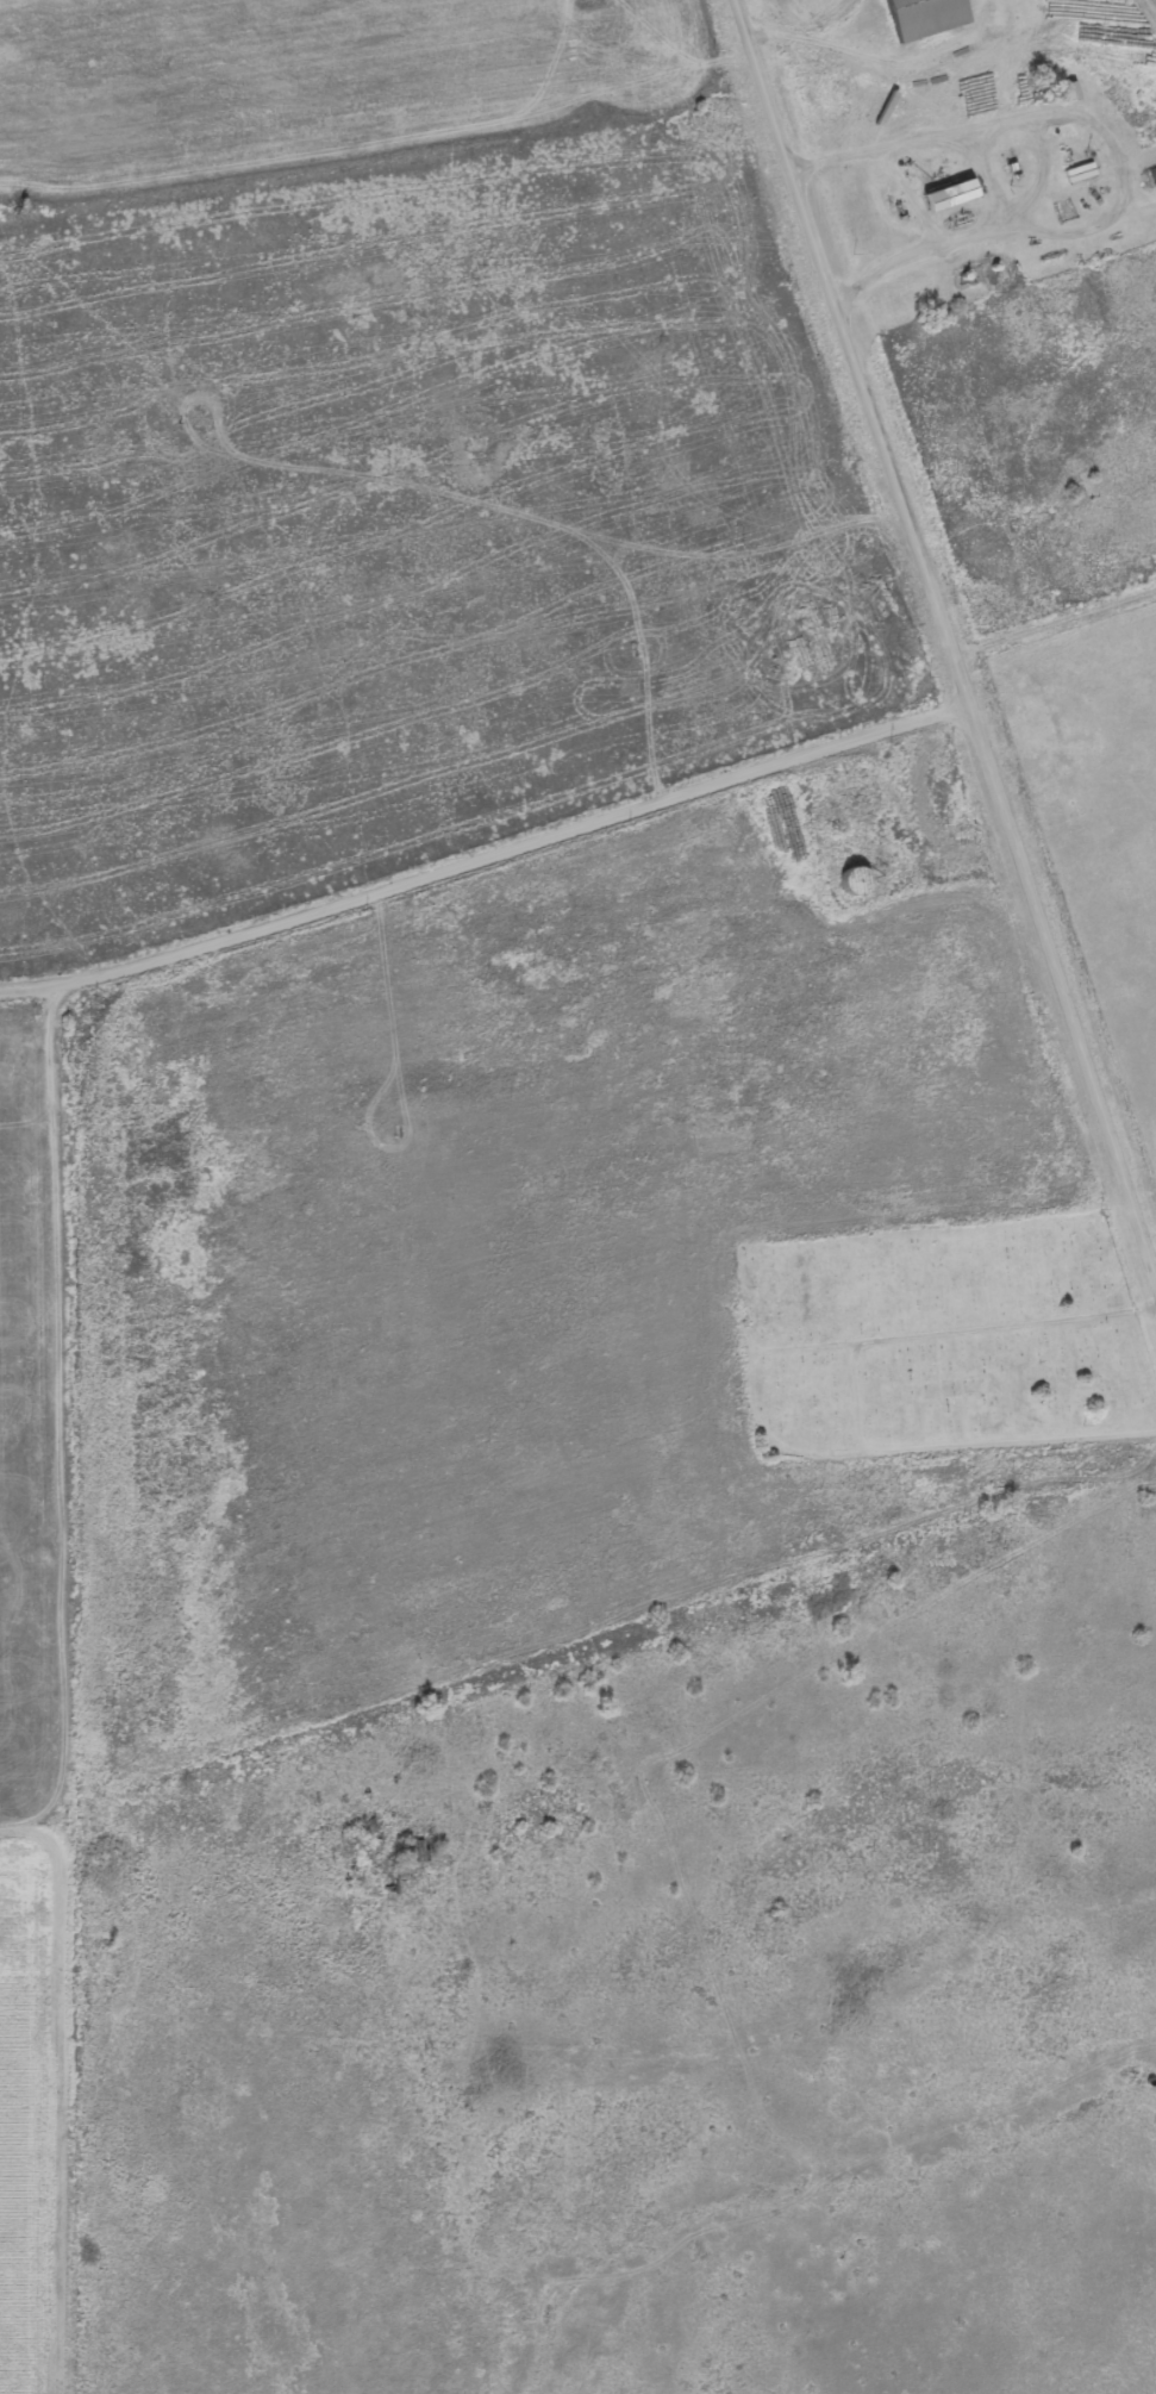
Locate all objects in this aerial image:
building: (930, 17)
building: (1082, 174)
building: (956, 195)
road: (176, 262)
road: (951, 636)
road: (489, 855)
building: (861, 881)
park: (949, 1339)
building: (19, 1595)
road: (25, 1844)
road: (169, 1859)

